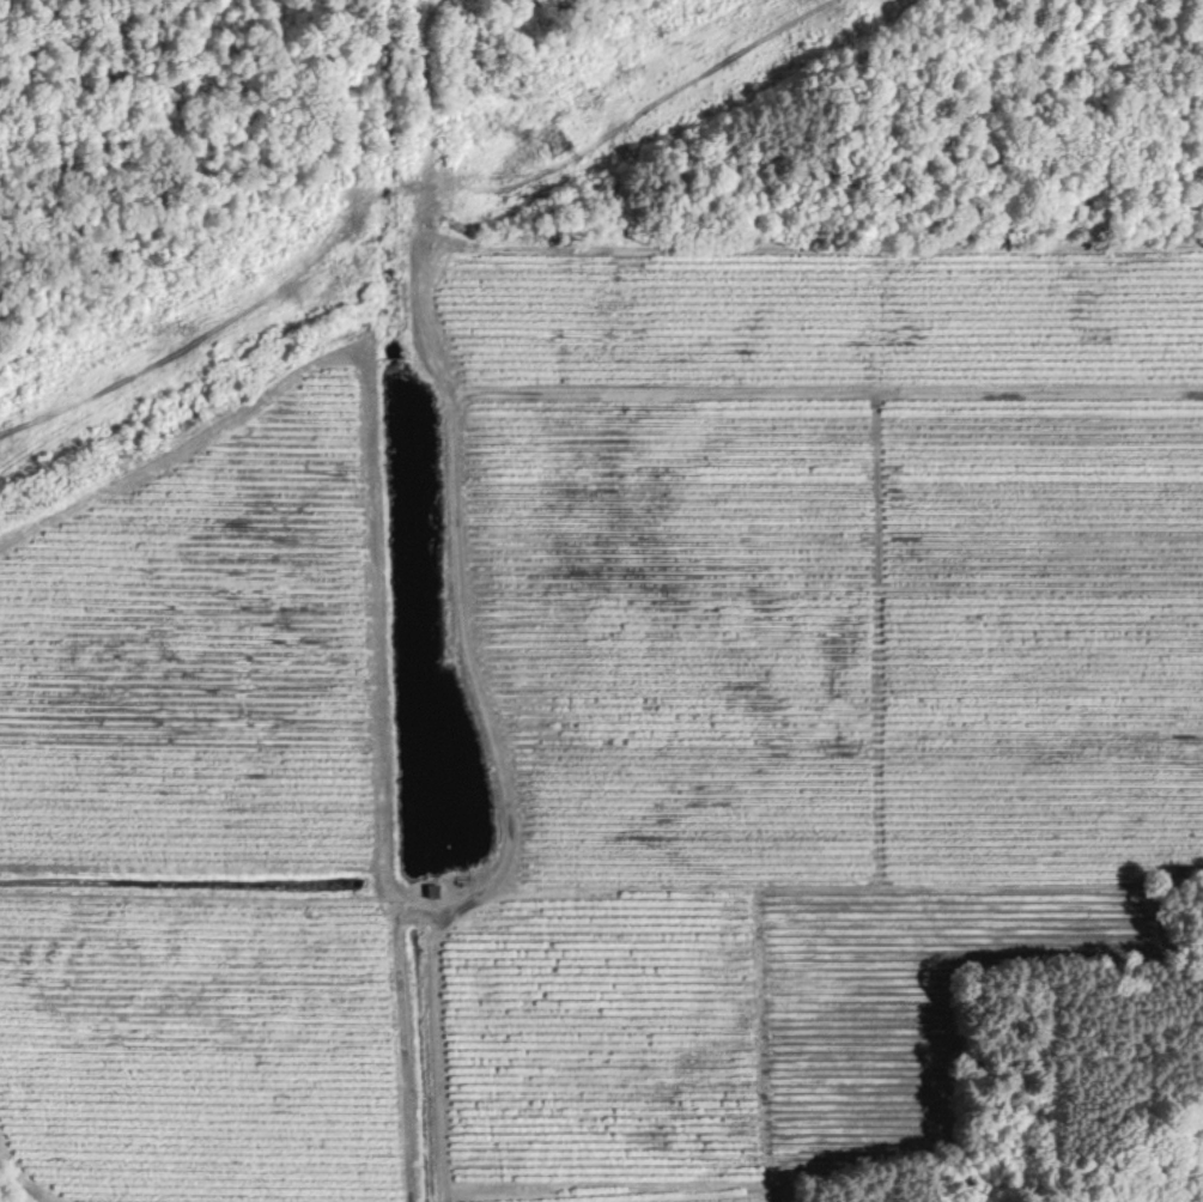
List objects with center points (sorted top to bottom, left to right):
power tower: (552, 146)

